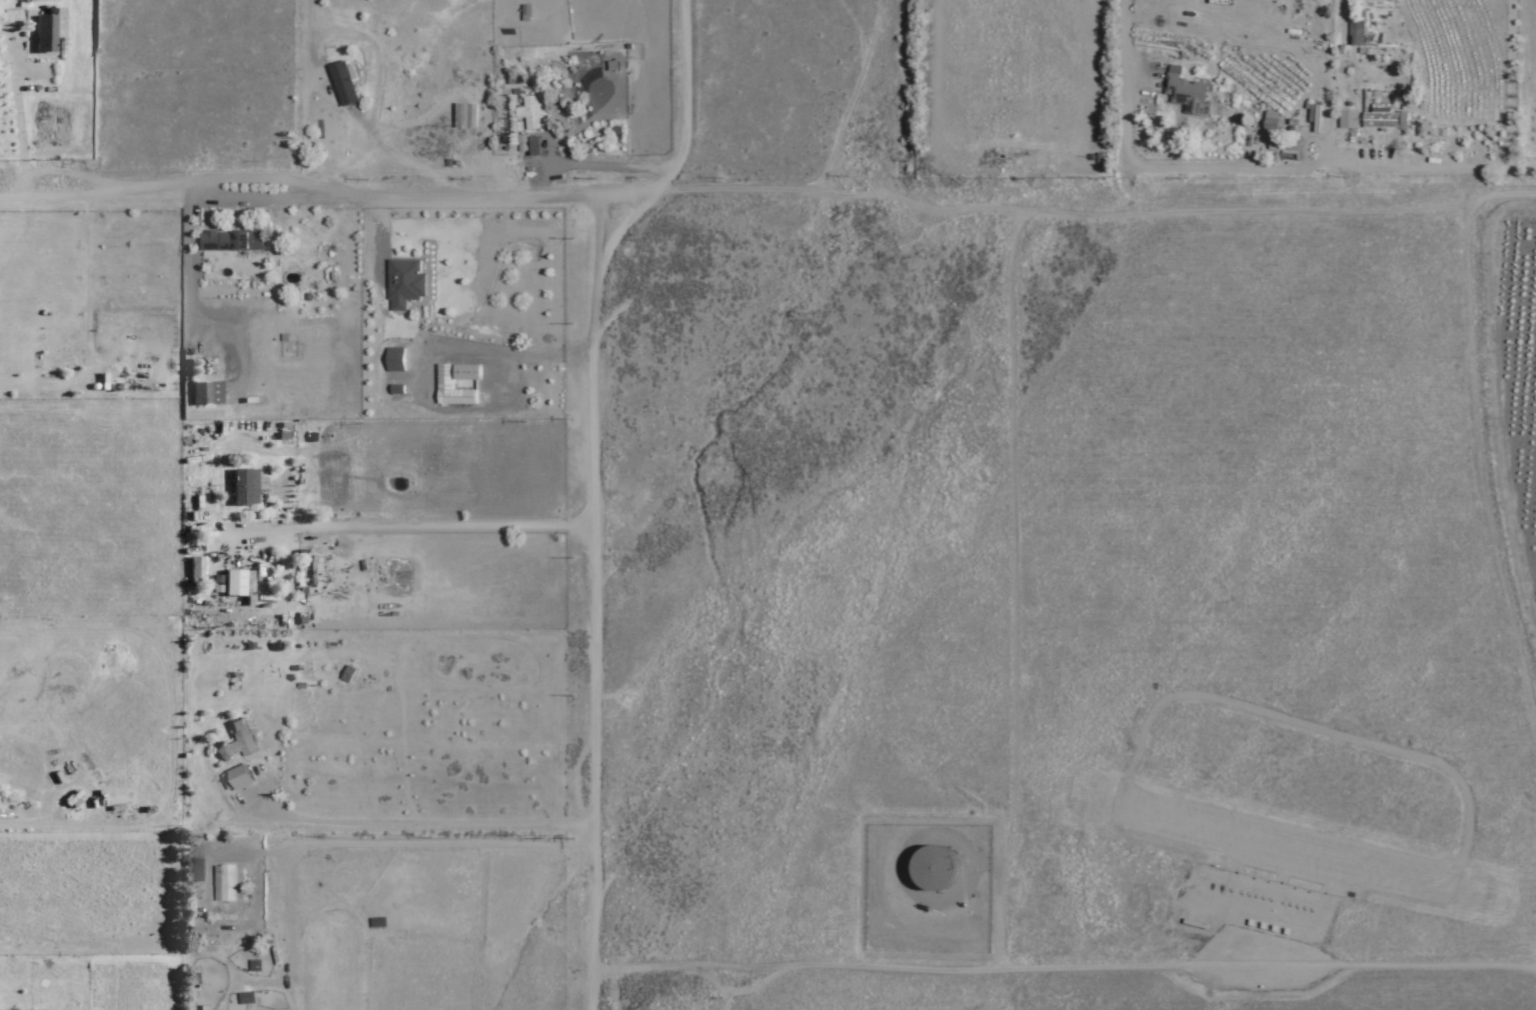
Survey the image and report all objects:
building: (1356, 32)
building: (44, 33)
road: (307, 33)
road: (1121, 75)
road: (681, 80)
building: (343, 83)
building: (1186, 94)
building: (531, 112)
building: (465, 116)
building: (1348, 120)
building: (1385, 120)
building: (1270, 124)
road: (1277, 207)
building: (227, 241)
building: (403, 284)
building: (394, 360)
building: (59, 365)
building: (443, 386)
building: (205, 394)
road: (1479, 473)
building: (242, 485)
road: (408, 512)
building: (195, 569)
road: (593, 572)
building: (232, 582)
building: (348, 673)
building: (237, 740)
building: (239, 776)
building: (194, 867)
building: (933, 867)
building: (227, 883)
building: (377, 922)
building: (193, 927)
road: (1057, 969)
building: (246, 997)

